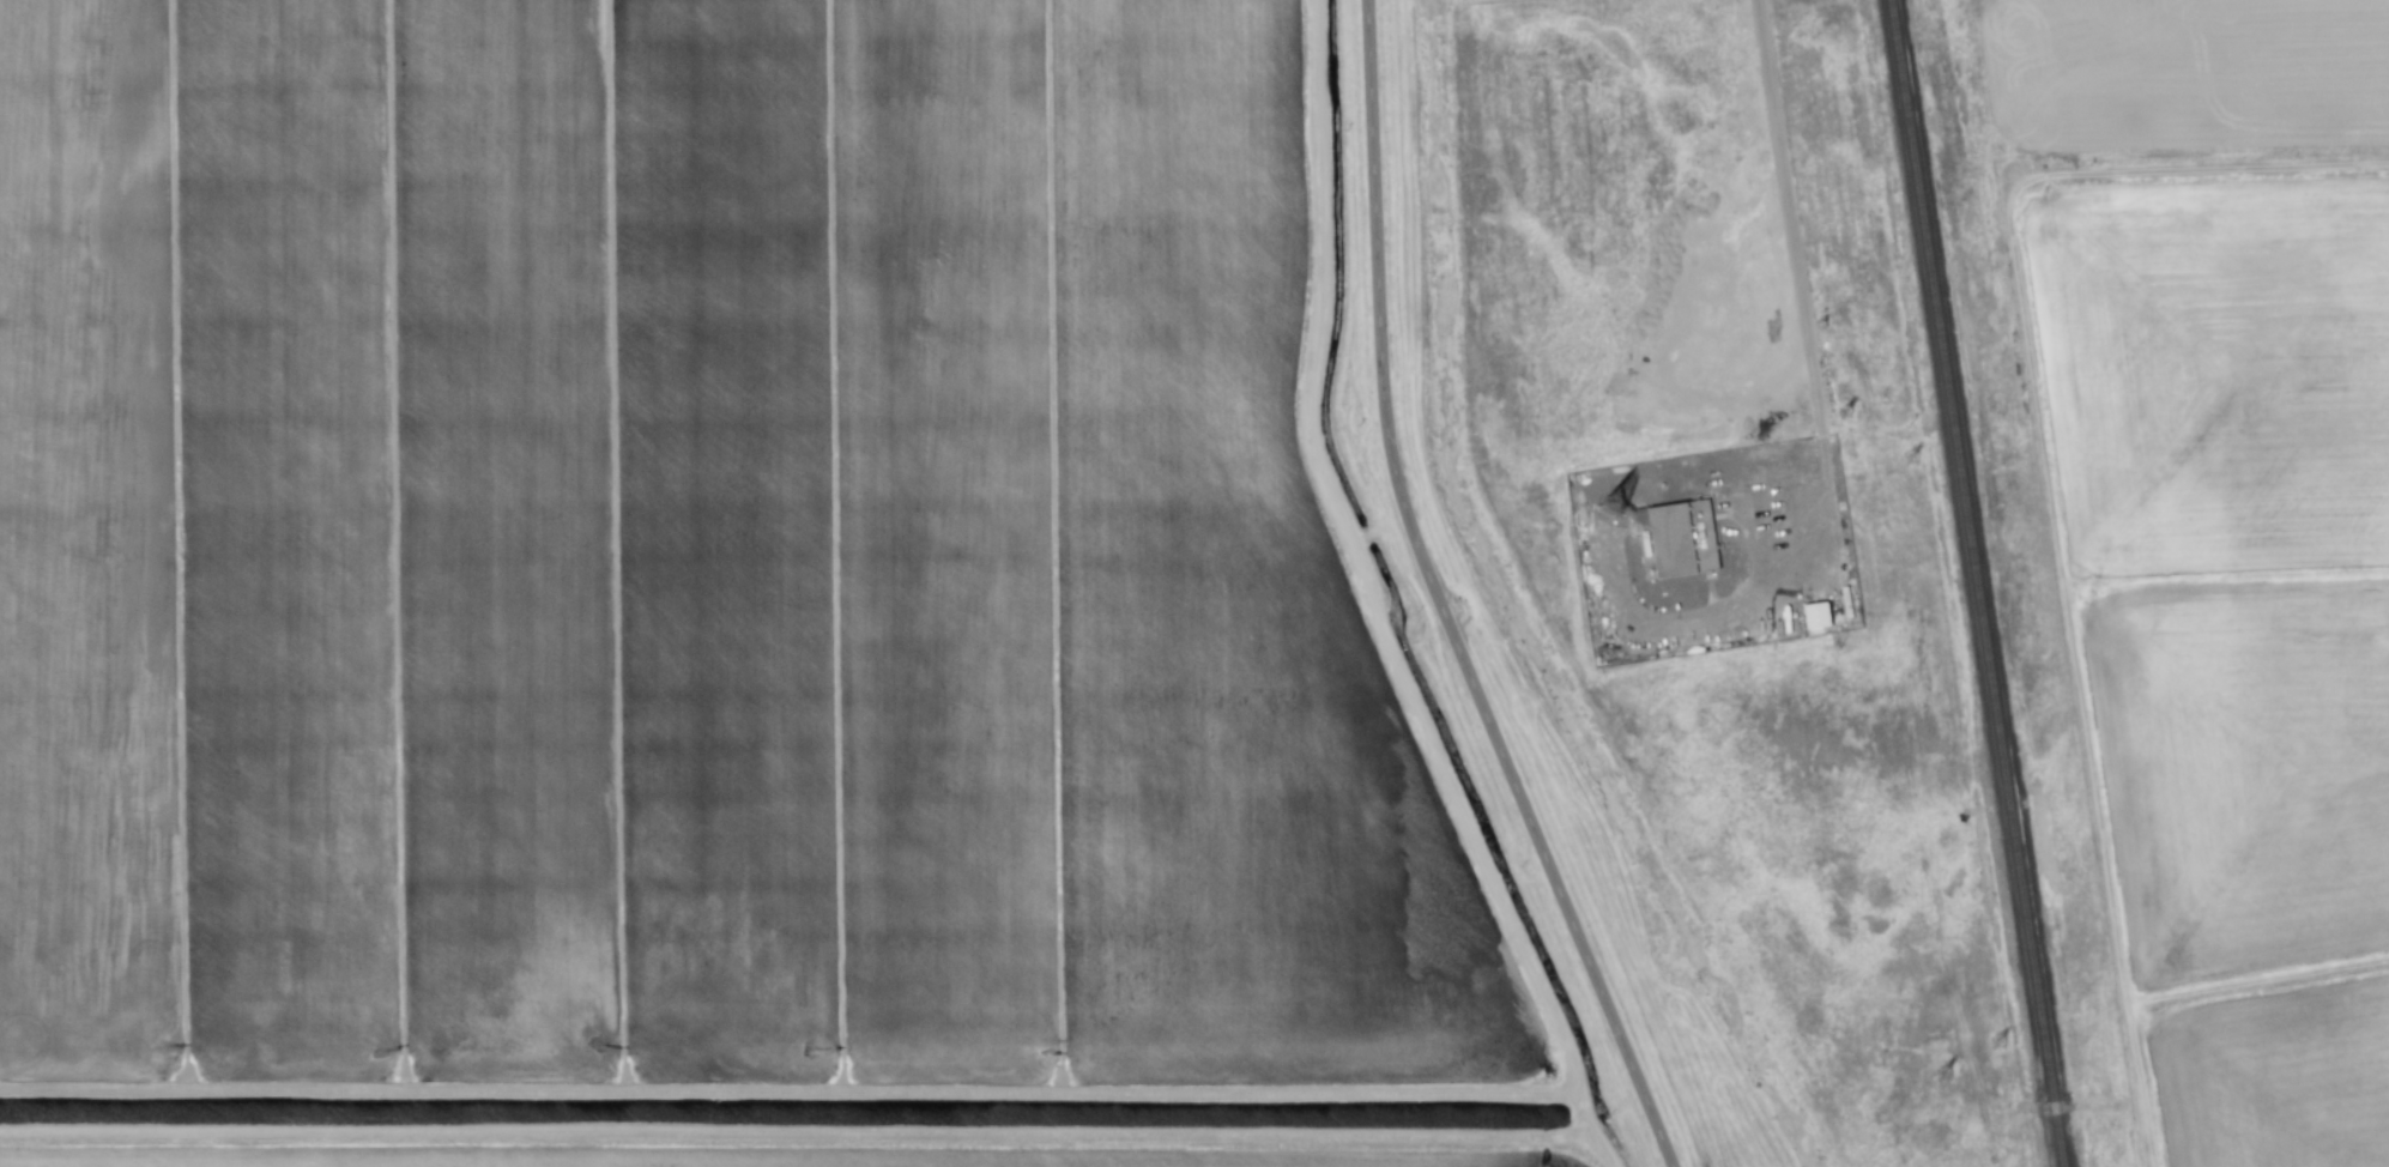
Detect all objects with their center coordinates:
road: (1820, 425)
power tower: (1912, 460)
power tower: (1853, 470)
building: (1675, 526)
building: (1707, 562)
railway: (1982, 583)
road: (1431, 600)
building: (1815, 615)
crop: (2189, 624)
power tower: (2001, 1046)
power tower: (1943, 1053)

